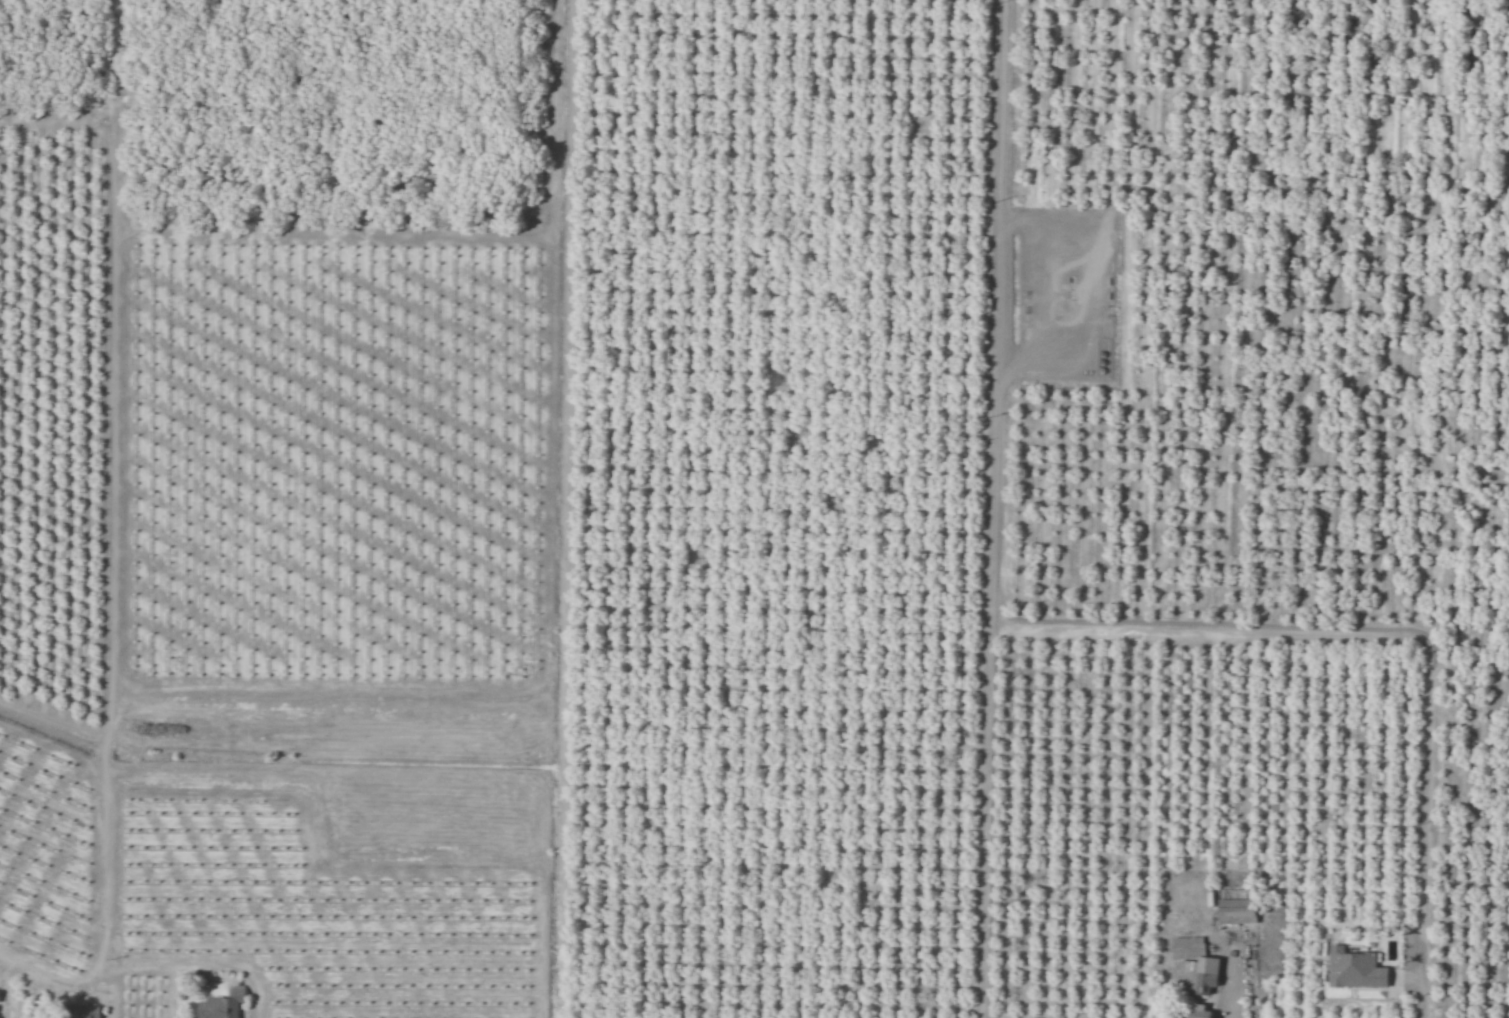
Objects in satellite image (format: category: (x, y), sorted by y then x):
road: (1001, 509)
road: (1401, 634)
building: (1240, 917)
building: (1358, 968)
building: (223, 1007)
building: (90, 1012)

